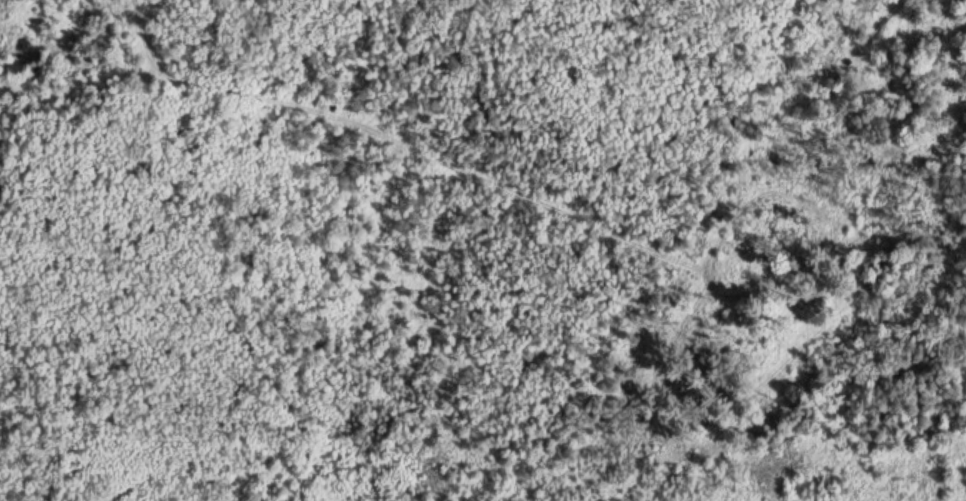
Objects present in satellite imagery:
road: (546, 209)

